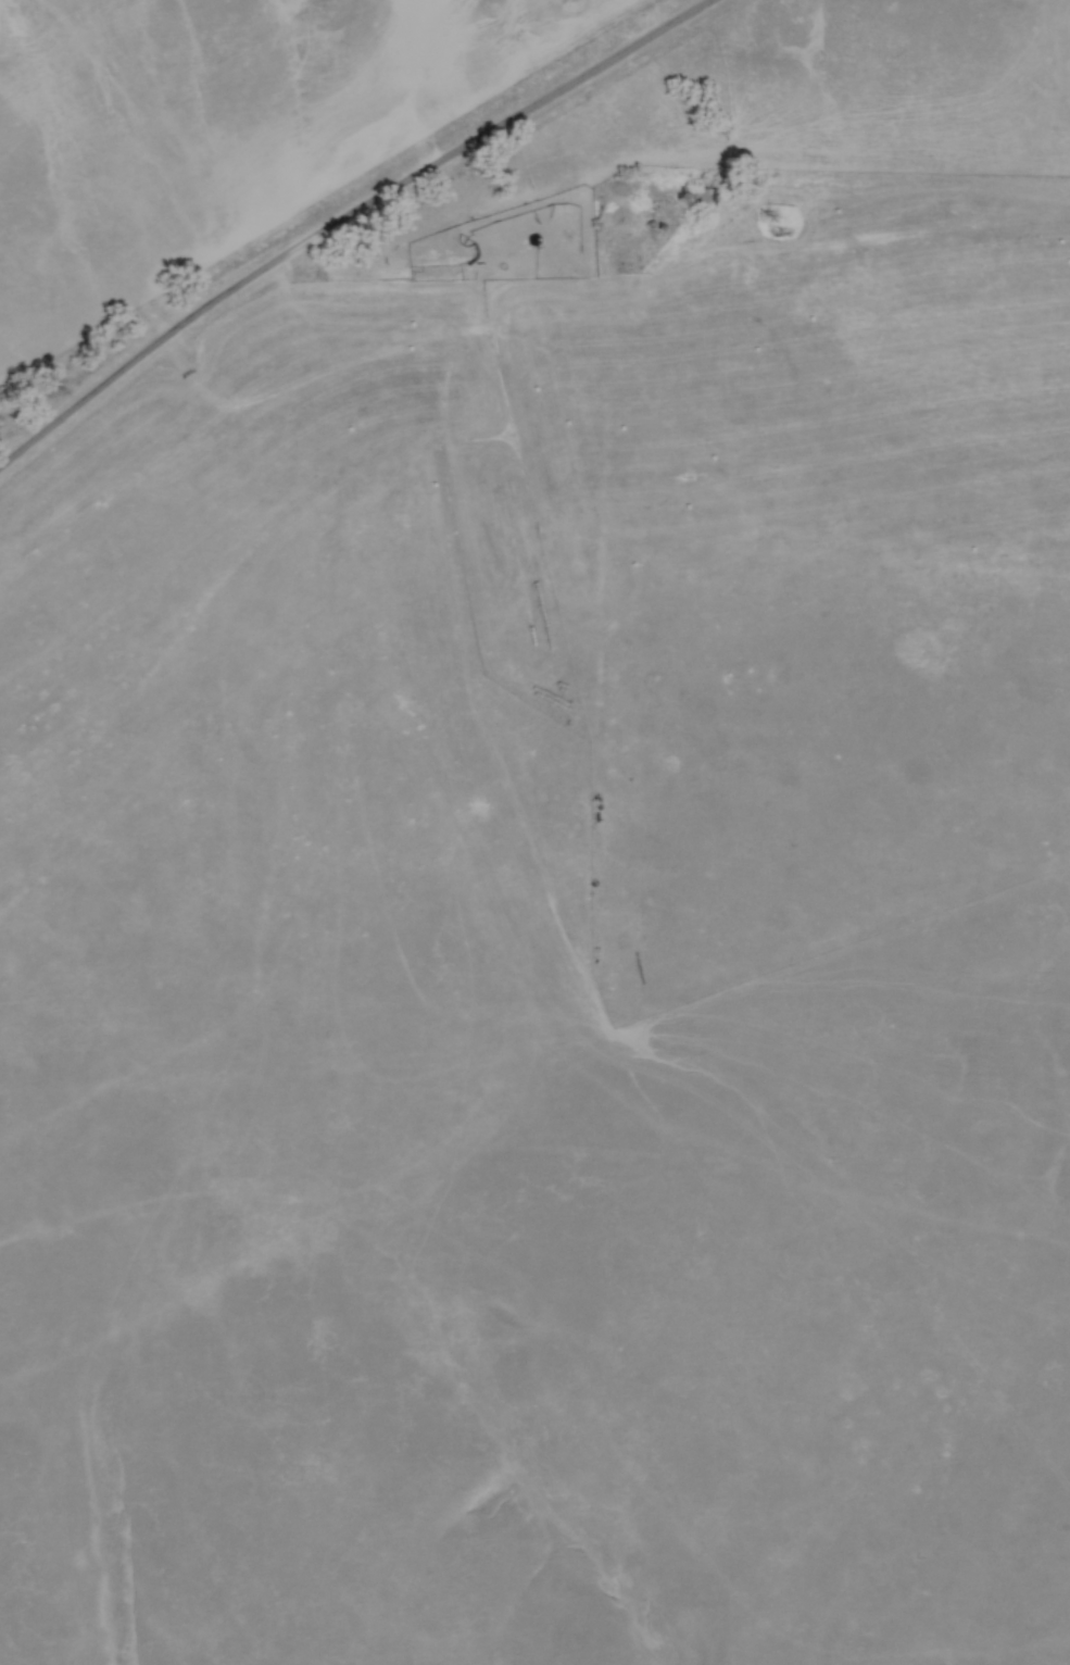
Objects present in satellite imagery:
building: (697, 195)
building: (713, 196)
road: (345, 216)
building: (775, 231)

